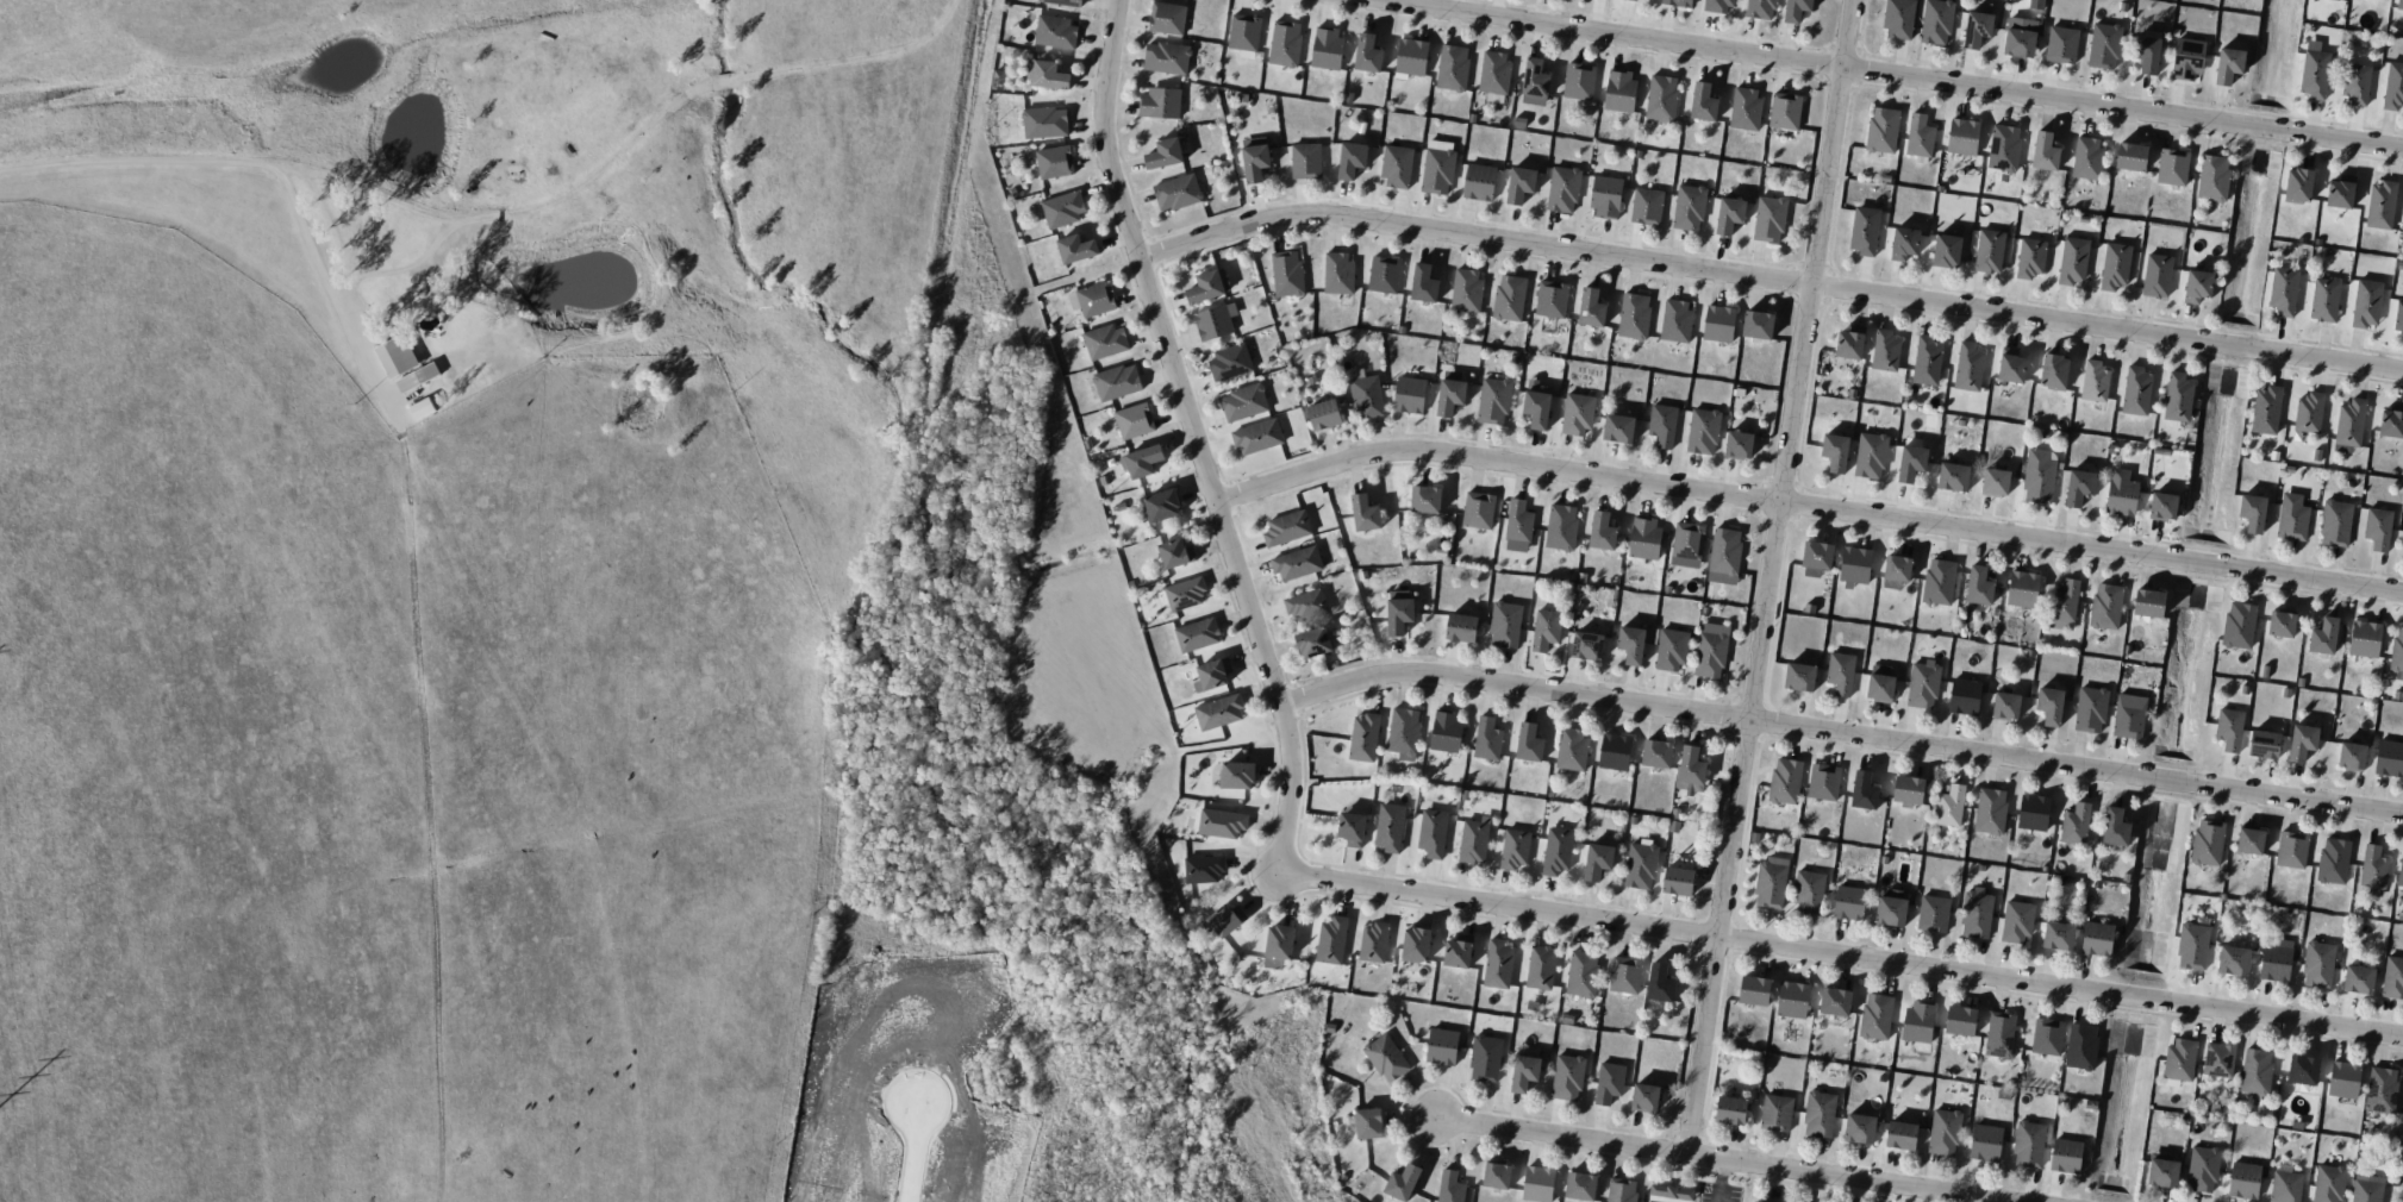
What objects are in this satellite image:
building: (1635, 0)
building: (1063, 1)
building: (1678, 2)
building: (1717, 5)
building: (2399, 5)
building: (1761, 8)
building: (1796, 10)
building: (1167, 18)
building: (1899, 19)
building: (1936, 21)
building: (1977, 29)
building: (1055, 31)
building: (1243, 35)
building: (2020, 36)
building: (1285, 43)
building: (2061, 44)
building: (2104, 45)
building: (1327, 48)
building: (1367, 54)
building: (2147, 54)
building: (1411, 56)
building: (1166, 57)
building: (2186, 60)
building: (2228, 65)
building: (1452, 67)
building: (2314, 70)
building: (1494, 73)
building: (1046, 75)
road: (1883, 75)
building: (1535, 79)
building: (1579, 81)
building: (2355, 83)
building: (2393, 87)
building: (1619, 90)
building: (1661, 98)
building: (1159, 102)
building: (1703, 102)
building: (1746, 108)
building: (1785, 111)
building: (1044, 123)
building: (1883, 130)
building: (1920, 136)
building: (1962, 136)
building: (1440, 144)
building: (2004, 146)
building: (2045, 151)
building: (1165, 154)
building: (2132, 156)
building: (1254, 157)
building: (2087, 157)
building: (1352, 159)
building: (1305, 161)
building: (1054, 162)
building: (1396, 167)
building: (2172, 167)
building: (1437, 171)
building: (2212, 177)
building: (1479, 182)
building: (1519, 184)
building: (2297, 186)
building: (1563, 189)
building: (1178, 192)
building: (2340, 192)
building: (1605, 196)
building: (2380, 205)
building: (1646, 206)
building: (1689, 207)
building: (1063, 208)
road: (501, 209)
building: (1729, 214)
building: (1770, 219)
building: (1864, 230)
building: (1904, 243)
building: (1076, 249)
building: (1947, 250)
building: (1989, 251)
building: (2030, 258)
building: (2073, 259)
building: (2115, 265)
building: (1286, 273)
building: (1337, 273)
road: (323, 274)
building: (1384, 274)
building: (2157, 275)
road: (1768, 281)
building: (1423, 283)
building: (1207, 286)
building: (2197, 286)
building: (1466, 289)
building: (2283, 290)
building: (1509, 298)
building: (1092, 299)
building: (1550, 299)
building: (2324, 299)
building: (2366, 303)
building: (1591, 308)
building: (1634, 315)
building: (2398, 318)
building: (1677, 320)
building: (1215, 321)
building: (1718, 323)
building: (1758, 324)
building: (1105, 340)
building: (1850, 342)
building: (1885, 351)
building: (395, 356)
building: (1927, 361)
building: (1229, 362)
building: (2011, 365)
building: (1968, 367)
building: (2054, 371)
building: (418, 377)
building: (2095, 381)
building: (1117, 382)
building: (2136, 390)
building: (1450, 393)
building: (1409, 394)
building: (1366, 396)
building: (2178, 397)
building: (1493, 401)
building: (1243, 402)
building: (422, 407)
building: (1536, 408)
building: (2266, 409)
building: (2309, 412)
building: (1324, 414)
building: (1577, 414)
building: (1134, 420)
building: (2391, 421)
building: (1662, 424)
building: (2349, 426)
building: (1618, 427)
building: (1703, 431)
building: (1256, 436)
road: (1194, 440)
building: (1739, 445)
building: (1835, 452)
building: (1871, 456)
building: (1141, 461)
building: (1911, 463)
building: (1953, 476)
building: (2039, 476)
building: (1995, 482)
building: (2079, 487)
building: (2121, 493)
building: (1425, 499)
building: (1162, 505)
building: (2162, 506)
road: (1806, 507)
building: (1478, 509)
building: (2252, 512)
building: (1365, 513)
building: (2292, 517)
building: (1518, 521)
building: (2335, 522)
building: (1561, 526)
building: (1286, 527)
building: (2378, 528)
building: (1602, 531)
building: (1644, 537)
building: (1687, 540)
building: (2402, 551)
building: (1175, 553)
building: (1817, 555)
building: (1724, 556)
building: (1297, 563)
building: (1855, 566)
building: (1897, 568)
road: (1771, 577)
building: (1939, 581)
building: (1979, 586)
building: (2022, 588)
building: (1185, 593)
building: (2148, 602)
building: (1305, 603)
building: (2064, 606)
building: (2105, 606)
building: (1398, 611)
building: (2282, 622)
building: (1505, 624)
building: (2239, 624)
building: (1461, 627)
building: (1546, 630)
building: (1197, 634)
building: (2323, 636)
building: (2364, 638)
building: (1313, 641)
building: (1631, 644)
building: (1587, 645)
building: (1671, 650)
building: (1711, 650)
building: (2397, 650)
building: (1213, 672)
building: (1840, 672)
building: (1799, 676)
building: (1880, 683)
building: (1923, 684)
building: (1965, 696)
building: (2049, 705)
building: (2005, 706)
building: (2090, 709)
building: (1218, 712)
building: (2128, 720)
building: (2229, 728)
building: (1446, 730)
building: (1403, 732)
road: (1841, 734)
building: (1363, 737)
building: (1487, 739)
building: (1529, 741)
building: (2302, 741)
building: (2264, 744)
building: (1572, 750)
building: (1615, 751)
building: (1656, 753)
building: (2351, 756)
building: (2389, 758)
building: (1691, 770)
building: (1237, 775)
building: (1785, 781)
building: (1823, 781)
building: (1864, 790)
building: (1909, 790)
building: (1949, 806)
building: (1990, 810)
building: (2033, 812)
building: (1221, 822)
building: (2076, 824)
building: (1390, 827)
building: (2115, 827)
building: (1352, 828)
building: (1433, 832)
building: (1474, 840)
building: (2249, 840)
building: (2208, 841)
building: (1515, 849)
building: (2291, 849)
building: (1556, 850)
building: (1597, 860)
building: (2333, 860)
building: (1640, 865)
building: (1203, 869)
building: (2373, 870)
building: (2401, 870)
building: (1678, 881)
building: (1771, 882)
building: (1809, 891)
building: (1849, 902)
building: (1891, 909)
building: (1933, 913)
building: (1976, 913)
building: (1224, 920)
building: (2017, 922)
building: (2058, 935)
building: (2097, 938)
building: (1331, 940)
building: (1374, 941)
building: (1415, 944)
building: (1278, 945)
building: (2192, 945)
building: (1458, 951)
road: (1840, 959)
building: (2276, 959)
building: (2233, 960)
building: (1498, 964)
building: (2318, 964)
building: (1541, 966)
building: (1581, 974)
building: (1625, 975)
building: (2392, 977)
building: (2358, 979)
building: (1660, 983)
building: (1754, 990)
building: (1792, 998)
building: (1834, 1006)
building: (1875, 1016)
building: (1918, 1020)
building: (1960, 1021)
building: (2001, 1034)
building: (2047, 1037)
building: (1442, 1046)
building: (2081, 1046)
building: (1386, 1058)
building: (1485, 1058)
building: (2180, 1058)
building: (2218, 1059)
building: (2255, 1071)
building: (1524, 1072)
building: (2302, 1073)
building: (1567, 1077)
building: (2343, 1079)
building: (1609, 1082)
building: (2382, 1089)
building: (1644, 1097)
building: (1730, 1110)
building: (1775, 1113)
building: (1820, 1114)
building: (1368, 1122)
building: (1860, 1128)
building: (1943, 1132)
building: (1902, 1135)
building: (1985, 1140)
building: (2029, 1144)
road: (913, 1152)
building: (2066, 1156)
road: (1719, 1160)
building: (2202, 1169)
building: (2162, 1170)
building: (1497, 1175)
building: (2243, 1179)
building: (1402, 1182)
building: (2328, 1183)
building: (1538, 1184)
building: (1580, 1185)
building: (1450, 1187)
building: (2285, 1187)
building: (2367, 1188)
building: (1621, 1190)
building: (1671, 1191)
building: (1758, 1201)

